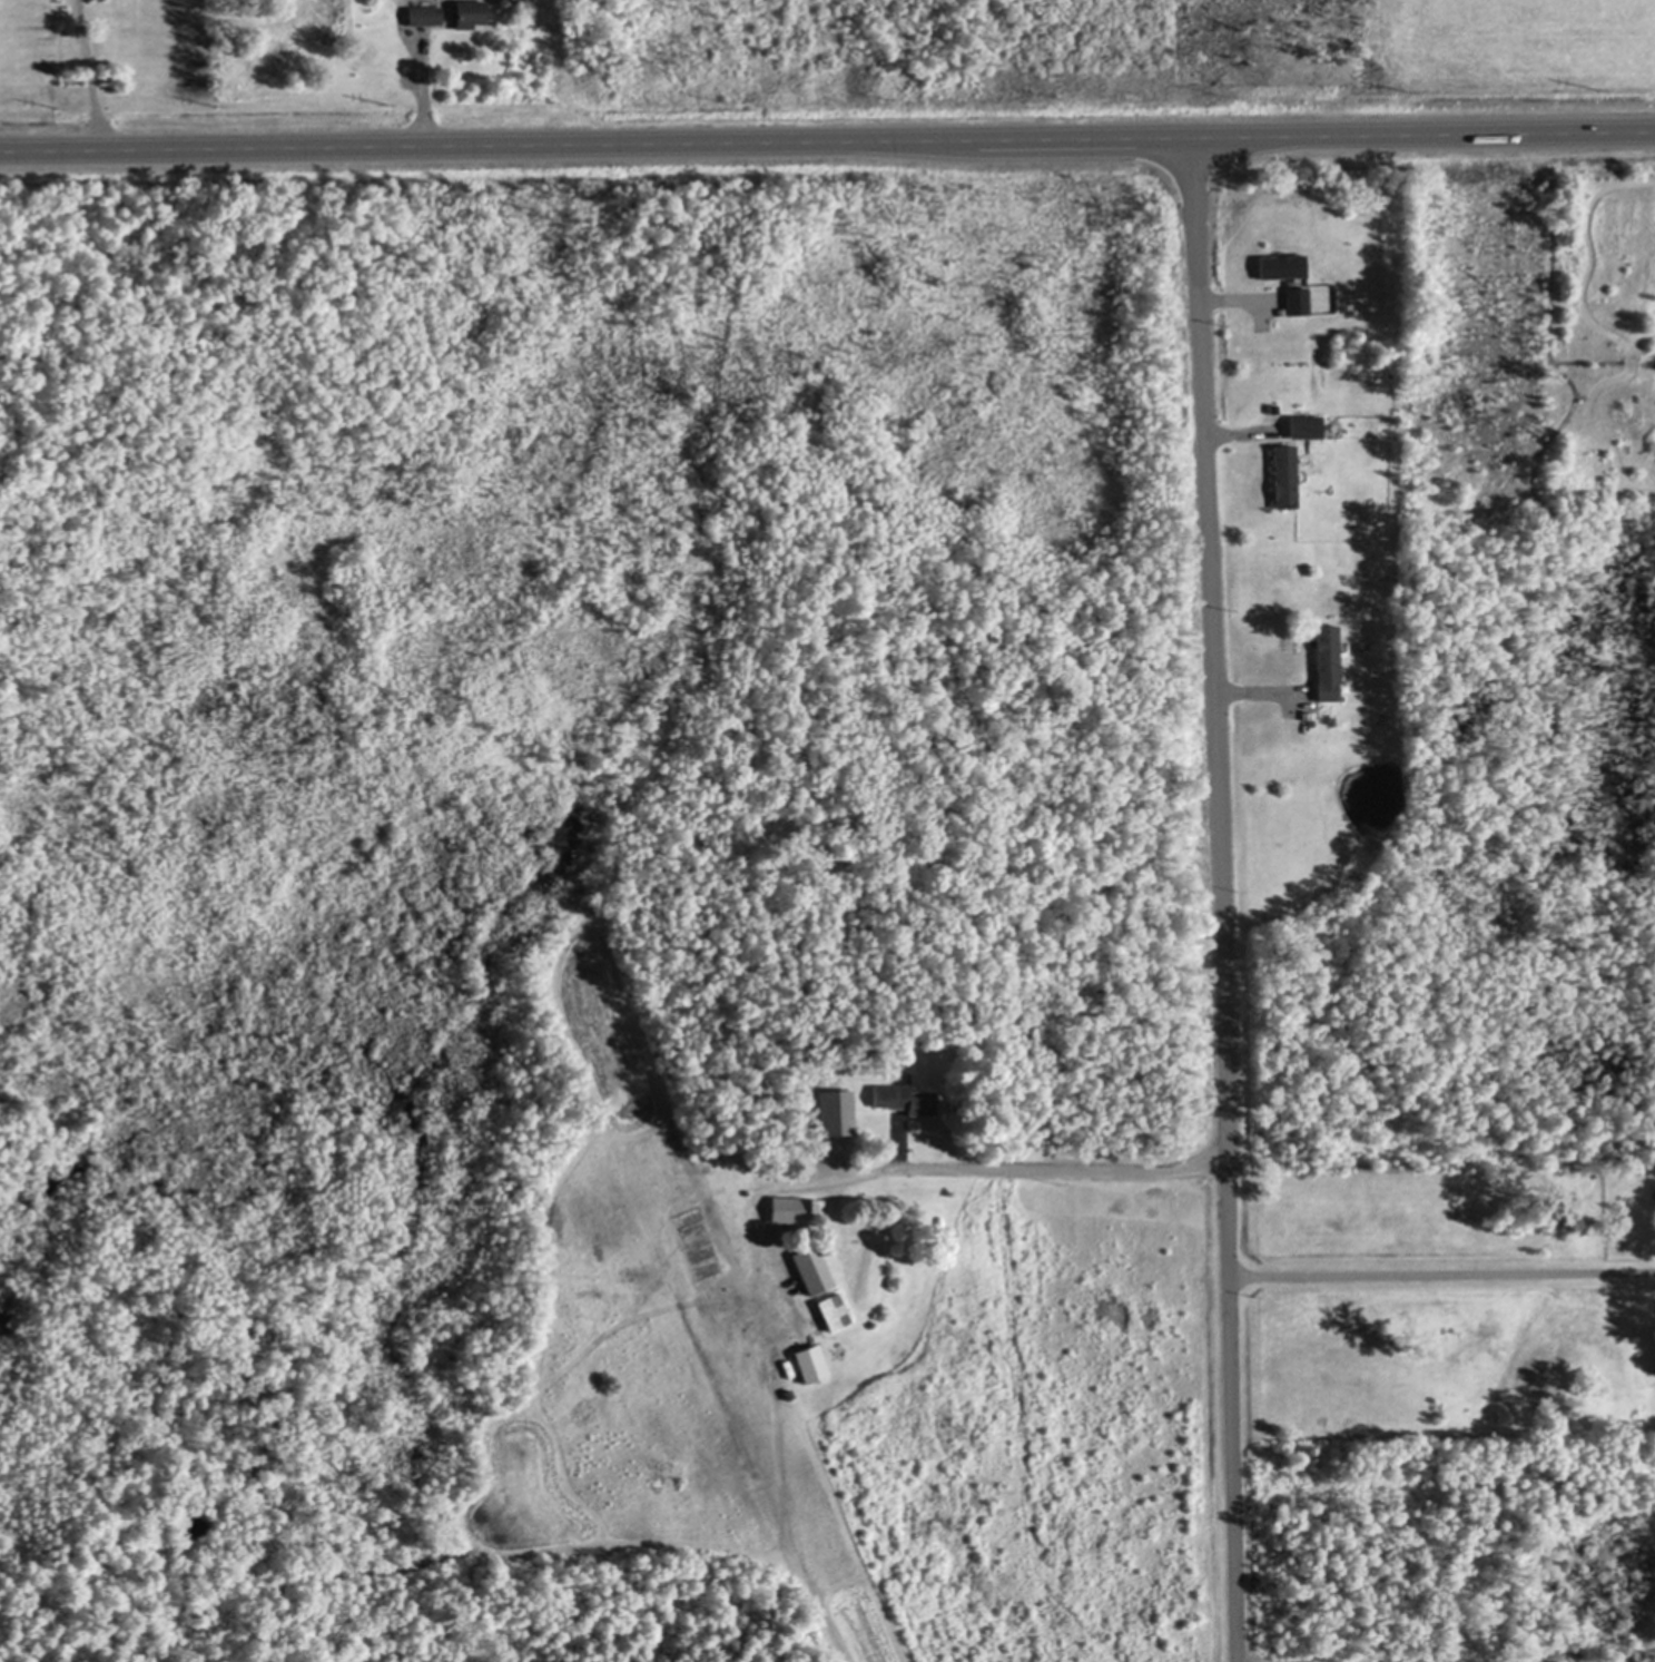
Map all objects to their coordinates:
building: (470, 11)
building: (425, 12)
power tower: (1590, 86)
power tower: (1402, 88)
power tower: (1212, 91)
power tower: (878, 94)
power tower: (1045, 94)
power tower: (713, 97)
power tower: (543, 98)
power tower: (377, 99)
power tower: (211, 102)
power tower: (50, 106)
road: (827, 142)
building: (1281, 264)
building: (1294, 299)
building: (1273, 407)
building: (1304, 423)
building: (1283, 473)
building: (1326, 659)
road: (1219, 899)
building: (903, 1095)
building: (835, 1110)
building: (727, 1164)
building: (705, 1166)
road: (942, 1166)
building: (792, 1209)
building: (811, 1268)
road: (1441, 1272)
airport runway: (718, 1309)
building: (831, 1309)
building: (809, 1360)

